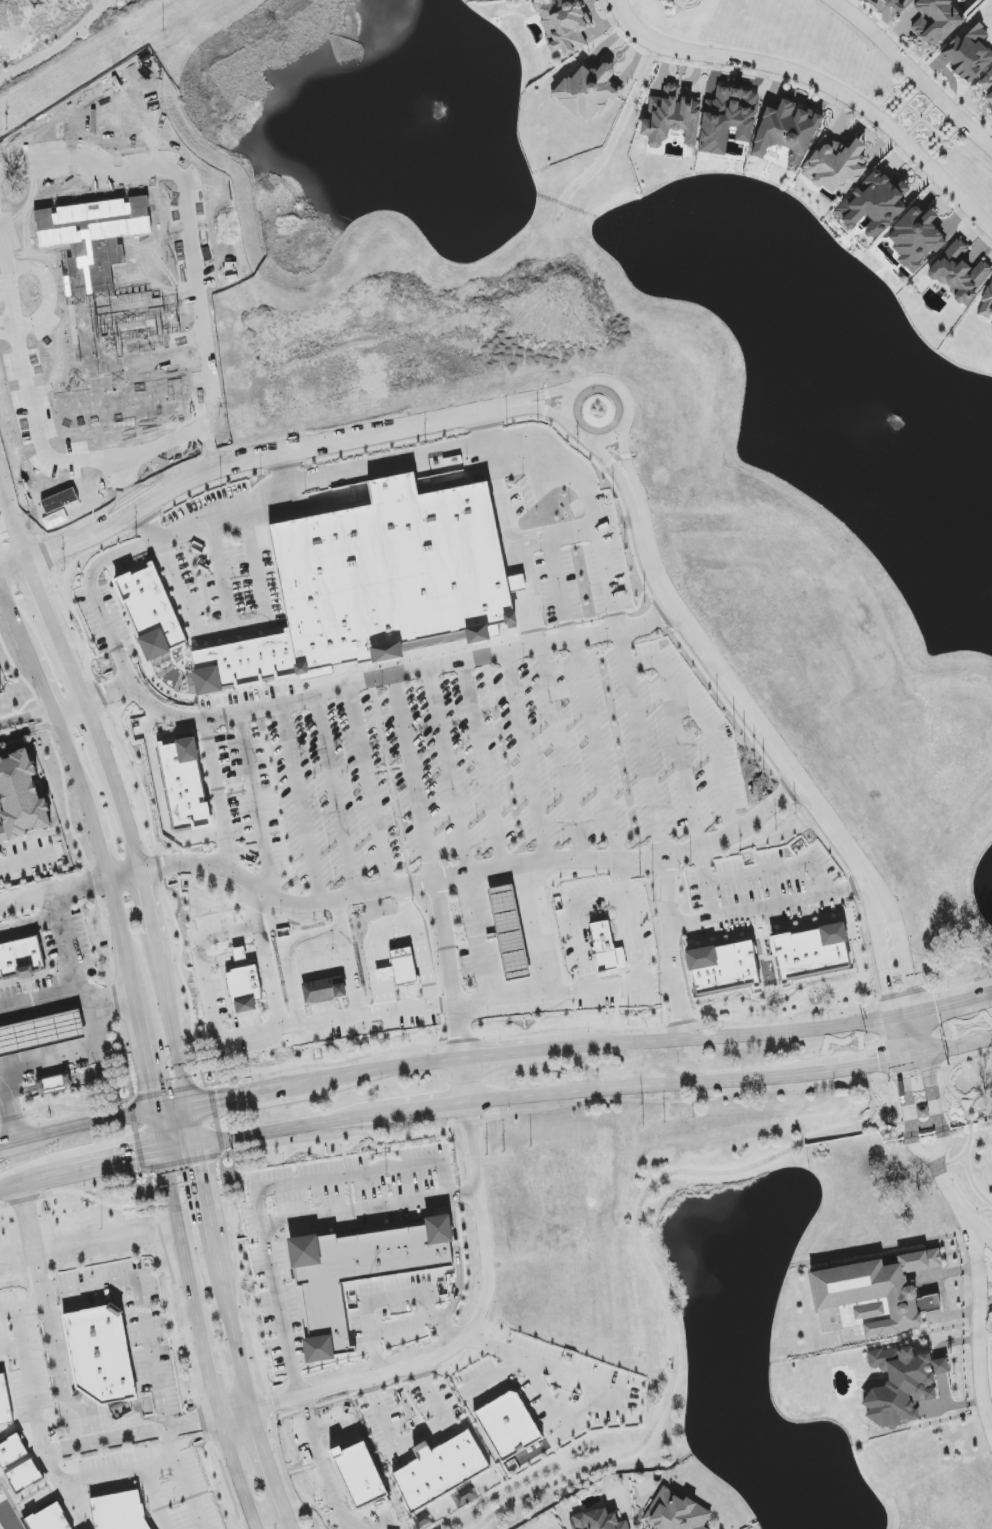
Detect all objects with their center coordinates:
building: (901, 4)
building: (936, 20)
park: (40, 25)
building: (563, 25)
road: (57, 45)
building: (968, 52)
road: (914, 70)
road: (819, 81)
building: (988, 86)
building: (587, 90)
fountain: (438, 107)
building: (671, 118)
building: (727, 119)
building: (786, 132)
building: (835, 164)
building: (874, 204)
building: (916, 239)
building: (960, 273)
building: (987, 302)
building: (991, 337)
road: (531, 398)
road: (531, 408)
fountain: (896, 417)
road: (484, 431)
road: (572, 431)
road: (301, 449)
road: (470, 452)
road: (624, 458)
road: (609, 463)
road: (284, 472)
parking lot: (522, 503)
road: (503, 518)
road: (13, 522)
road: (573, 536)
road: (77, 542)
road: (523, 552)
parking lot: (229, 562)
road: (12, 565)
road: (170, 572)
building: (377, 577)
road: (220, 579)
road: (516, 583)
road: (530, 587)
parking lot: (108, 603)
road: (267, 606)
building: (149, 608)
road: (528, 620)
road: (52, 625)
road: (661, 667)
road: (644, 669)
road: (729, 687)
building: (0, 688)
road: (358, 691)
road: (585, 703)
road: (26, 719)
road: (28, 733)
parking lot: (484, 753)
road: (563, 757)
road: (527, 761)
road: (483, 769)
road: (448, 777)
building: (184, 780)
road: (414, 784)
road: (79, 788)
road: (391, 788)
road: (371, 793)
building: (21, 795)
road: (218, 801)
road: (336, 801)
road: (301, 808)
road: (256, 809)
road: (24, 863)
road: (777, 874)
road: (476, 877)
road: (123, 878)
road: (622, 880)
parking lot: (760, 883)
road: (707, 891)
road: (143, 892)
road: (876, 894)
road: (53, 895)
road: (871, 907)
road: (767, 915)
road: (575, 922)
road: (31, 923)
building: (507, 931)
gas station: (507, 931)
road: (536, 932)
road: (634, 938)
road: (483, 943)
building: (603, 946)
road: (926, 948)
road: (932, 950)
building: (22, 953)
road: (669, 953)
building: (811, 953)
building: (239, 954)
road: (942, 961)
building: (404, 966)
parking lot: (466, 966)
road: (904, 966)
road: (448, 971)
building: (723, 971)
road: (887, 983)
building: (244, 988)
traffic signals: (889, 992)
road: (564, 993)
road: (989, 994)
road: (898, 995)
road: (42, 1000)
road: (112, 1003)
road: (946, 1004)
traffic signals: (936, 1007)
road: (406, 1011)
road: (370, 1014)
road: (91, 1016)
road: (315, 1021)
road: (286, 1023)
gas station: (42, 1029)
building: (41, 1033)
road: (237, 1034)
road: (743, 1036)
road: (910, 1036)
road: (952, 1048)
road: (143, 1053)
road: (520, 1053)
road: (963, 1060)
traffic signals: (879, 1065)
road: (397, 1066)
road: (864, 1066)
road: (930, 1070)
road: (915, 1074)
road: (900, 1076)
traffic signals: (931, 1076)
building: (52, 1081)
road: (465, 1081)
road: (880, 1081)
road: (641, 1086)
traffic signals: (149, 1088)
road: (242, 1090)
road: (1, 1091)
road: (934, 1091)
traffic signals: (220, 1094)
road: (905, 1095)
road: (960, 1097)
road: (962, 1106)
road: (970, 1107)
road: (8, 1109)
road: (413, 1110)
road: (544, 1111)
road: (968, 1121)
road: (83, 1122)
road: (194, 1122)
road: (926, 1125)
road: (156, 1130)
road: (278, 1130)
road: (8, 1141)
road: (941, 1147)
road: (921, 1151)
road: (219, 1152)
road: (963, 1153)
traffic signals: (135, 1159)
road: (963, 1162)
road: (113, 1163)
traffic signals: (203, 1164)
road: (351, 1176)
road: (971, 1180)
road: (13, 1183)
road: (78, 1191)
road: (207, 1195)
road: (953, 1196)
road: (978, 1213)
road: (283, 1221)
road: (178, 1231)
road: (29, 1239)
building: (360, 1271)
road: (653, 1273)
road: (138, 1284)
building: (877, 1293)
road: (391, 1298)
road: (166, 1300)
road: (980, 1322)
road: (400, 1325)
road: (230, 1329)
road: (986, 1330)
road: (468, 1333)
road: (250, 1340)
building: (104, 1351)
road: (186, 1351)
road: (540, 1363)
road: (206, 1364)
road: (58, 1374)
road: (494, 1374)
building: (902, 1385)
road: (541, 1388)
building: (5, 1402)
road: (588, 1404)
road: (234, 1415)
building: (508, 1425)
road: (157, 1430)
road: (415, 1435)
building: (11, 1451)
road: (322, 1464)
road: (268, 1467)
building: (440, 1473)
road: (235, 1474)
building: (24, 1476)
building: (119, 1511)
building: (675, 1513)
building: (49, 1519)
building: (599, 1520)
road: (289, 1525)

